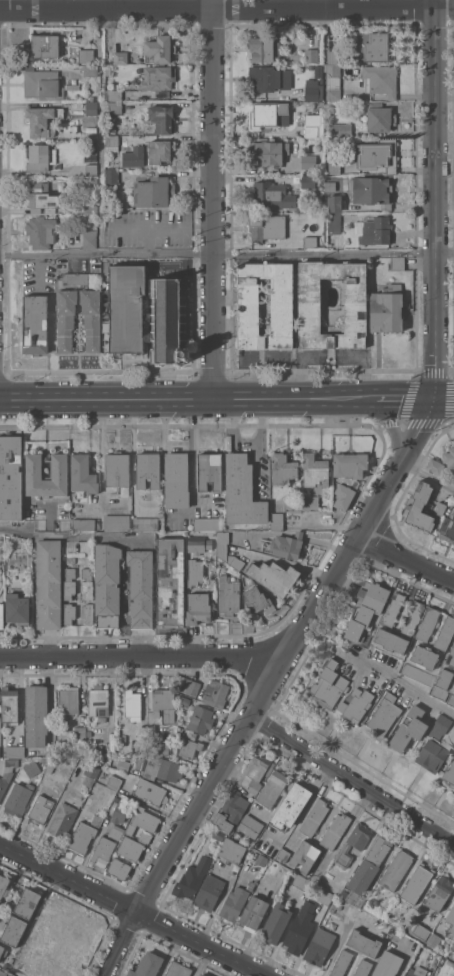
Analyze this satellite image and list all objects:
road: (226, 9)
building: (374, 44)
building: (45, 45)
building: (159, 49)
building: (264, 49)
building: (85, 55)
building: (311, 55)
building: (121, 57)
building: (333, 57)
building: (90, 70)
building: (157, 78)
building: (269, 78)
building: (381, 79)
building: (334, 82)
building: (42, 84)
building: (72, 86)
building: (313, 90)
building: (90, 91)
building: (114, 95)
building: (91, 107)
building: (115, 107)
building: (268, 114)
building: (380, 117)
building: (162, 118)
building: (42, 121)
building: (313, 125)
building: (91, 128)
building: (340, 130)
building: (112, 143)
building: (160, 150)
building: (269, 153)
building: (377, 155)
building: (40, 156)
building: (308, 161)
building: (334, 167)
building: (91, 169)
building: (111, 176)
building: (92, 181)
building: (308, 181)
building: (330, 186)
building: (372, 189)
building: (153, 191)
building: (40, 195)
building: (270, 196)
road: (213, 201)
road: (435, 201)
building: (335, 202)
building: (84, 207)
building: (335, 224)
building: (266, 226)
building: (373, 229)
building: (41, 231)
building: (89, 238)
building: (309, 241)
road: (227, 254)
building: (105, 261)
building: (397, 263)
building: (95, 265)
building: (104, 268)
building: (71, 273)
building: (281, 305)
building: (355, 305)
building: (126, 308)
building: (386, 308)
building: (91, 318)
building: (66, 319)
building: (168, 320)
building: (35, 324)
road: (444, 401)
road: (404, 402)
traffic signals: (434, 402)
road: (187, 404)
road: (392, 428)
road: (101, 455)
building: (449, 457)
road: (192, 461)
building: (350, 464)
building: (434, 465)
building: (283, 468)
building: (58, 469)
building: (148, 469)
building: (210, 470)
building: (315, 470)
building: (118, 471)
road: (426, 474)
building: (83, 476)
building: (10, 477)
building: (176, 480)
building: (242, 491)
building: (343, 496)
building: (311, 502)
building: (293, 505)
road: (101, 506)
building: (419, 507)
building: (441, 508)
building: (277, 518)
building: (117, 521)
building: (145, 523)
building: (207, 523)
building: (84, 524)
building: (447, 529)
road: (72, 536)
building: (199, 544)
building: (286, 546)
building: (223, 549)
road: (403, 560)
building: (195, 572)
building: (274, 576)
building: (171, 582)
building: (69, 583)
building: (87, 583)
building: (48, 584)
building: (108, 585)
building: (141, 587)
building: (229, 595)
building: (258, 602)
building: (199, 608)
building: (17, 609)
building: (366, 609)
building: (393, 609)
building: (69, 613)
building: (88, 613)
building: (1, 615)
building: (413, 617)
building: (428, 624)
building: (242, 627)
building: (445, 633)
building: (391, 641)
road: (138, 653)
building: (424, 656)
building: (451, 658)
building: (418, 674)
building: (444, 679)
road: (265, 685)
building: (329, 685)
road: (406, 689)
building: (453, 690)
building: (207, 691)
building: (453, 692)
building: (438, 693)
road: (50, 698)
building: (98, 700)
building: (184, 700)
building: (451, 700)
building: (68, 703)
building: (164, 704)
building: (10, 705)
building: (132, 705)
building: (356, 705)
building: (36, 715)
building: (383, 716)
building: (201, 719)
building: (439, 726)
building: (409, 728)
building: (80, 733)
building: (88, 733)
building: (190, 734)
building: (157, 748)
building: (189, 748)
building: (142, 750)
building: (15, 751)
building: (119, 754)
building: (432, 755)
building: (108, 761)
building: (123, 764)
building: (142, 764)
building: (80, 765)
building: (51, 766)
building: (170, 770)
building: (91, 772)
building: (253, 772)
building: (450, 773)
building: (7, 774)
building: (114, 782)
road: (350, 782)
building: (453, 787)
building: (272, 788)
building: (150, 792)
building: (18, 799)
building: (235, 806)
building: (291, 806)
building: (41, 808)
building: (120, 811)
building: (314, 817)
building: (63, 819)
building: (97, 820)
building: (143, 821)
building: (223, 823)
building: (250, 826)
building: (116, 831)
building: (335, 831)
building: (145, 836)
building: (217, 836)
building: (82, 837)
building: (353, 844)
building: (267, 845)
building: (131, 848)
building: (103, 851)
building: (232, 851)
building: (283, 854)
building: (305, 855)
building: (261, 860)
building: (370, 865)
building: (119, 870)
building: (396, 870)
building: (190, 881)
building: (301, 882)
building: (416, 883)
building: (4, 886)
building: (209, 892)
building: (439, 893)
building: (325, 897)
building: (27, 903)
building: (234, 903)
building: (334, 907)
road: (127, 911)
building: (253, 914)
building: (451, 919)
building: (276, 922)
building: (48, 929)
building: (13, 931)
building: (421, 931)
building: (298, 935)
building: (434, 939)
building: (364, 943)
building: (80, 945)
building: (319, 947)
building: (453, 947)
building: (3, 951)
building: (341, 963)
building: (388, 964)
building: (148, 965)
building: (363, 968)
building: (22, 970)
building: (177, 970)
building: (416, 971)
building: (452, 971)
building: (3, 973)
building: (62, 974)
building: (9, 975)
building: (11, 975)
building: (202, 975)

